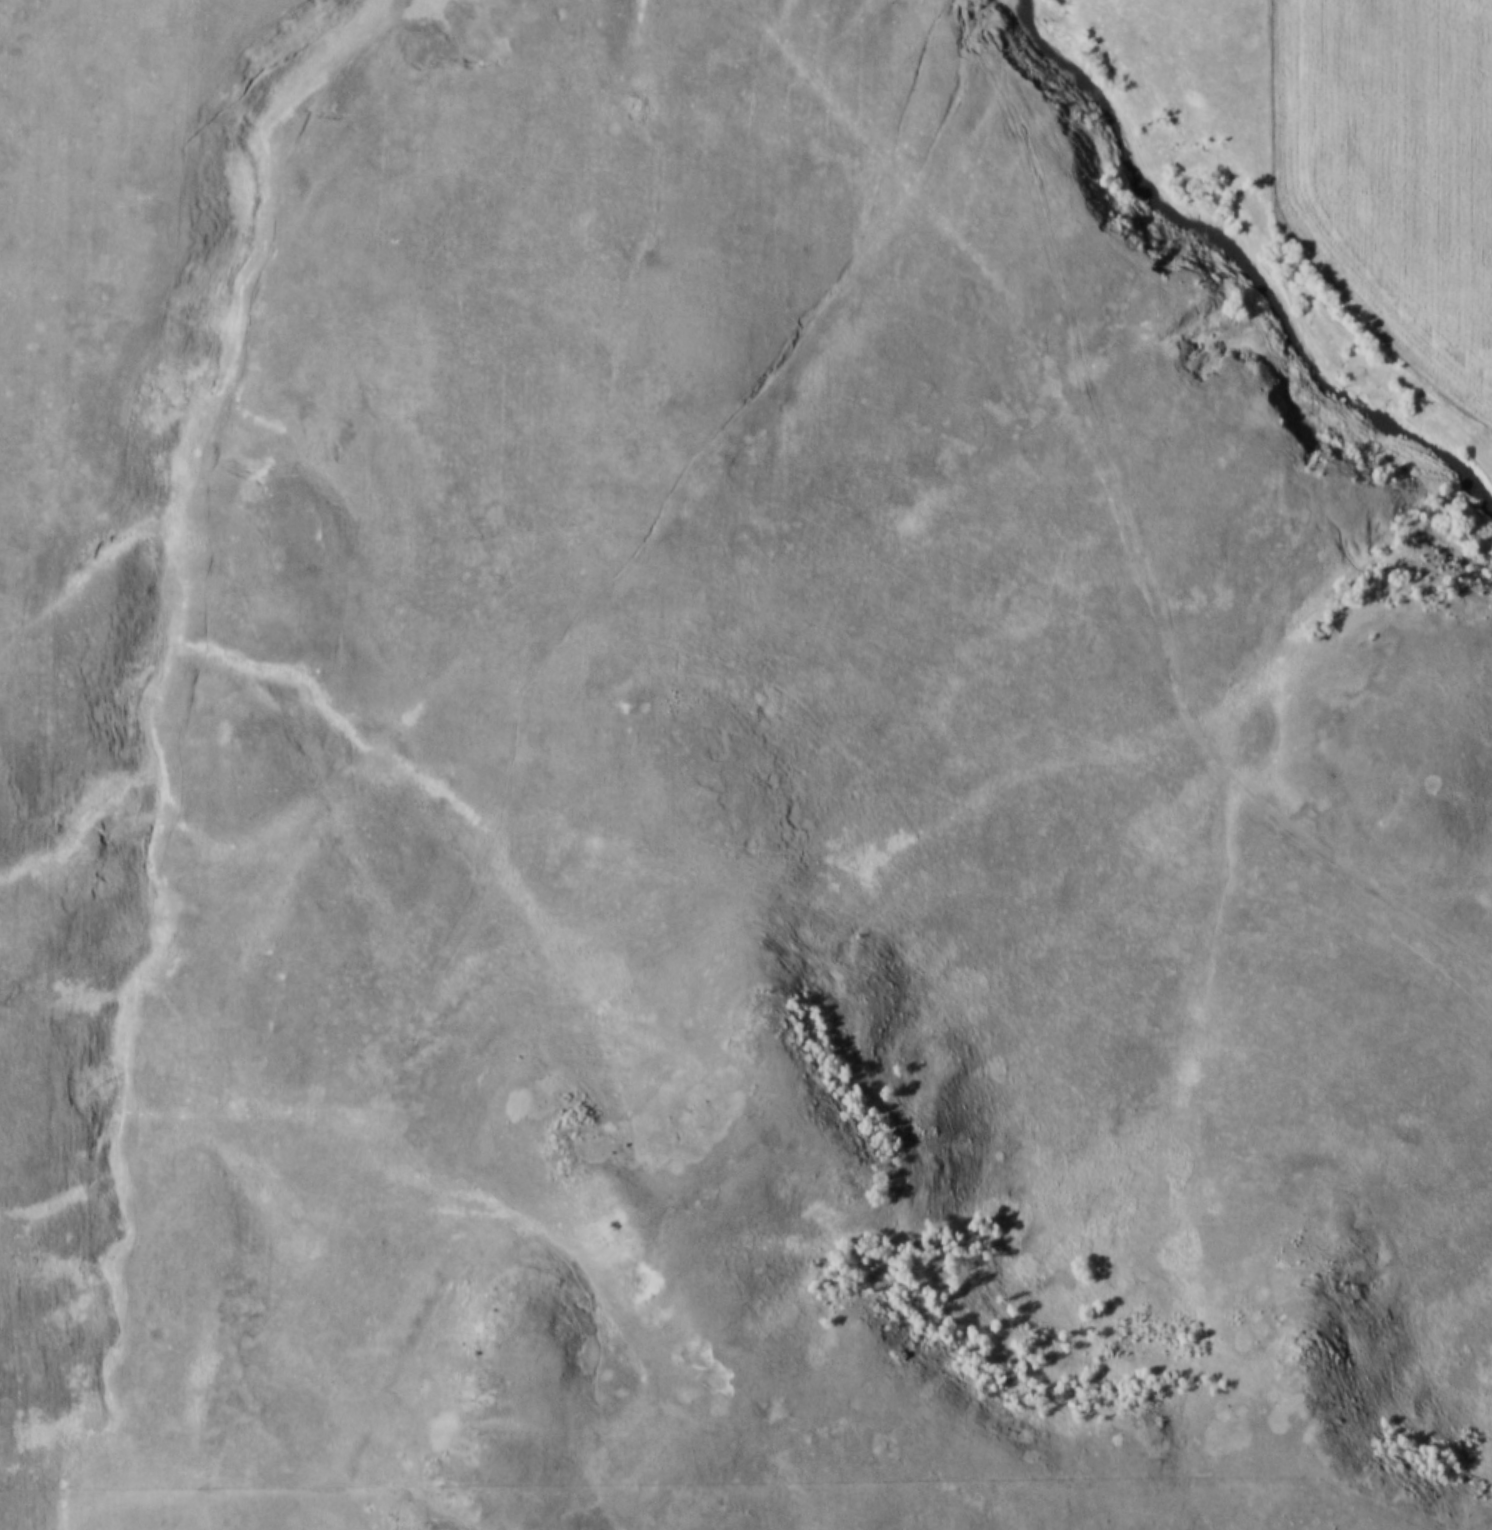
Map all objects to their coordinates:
river: (1251, 258)

